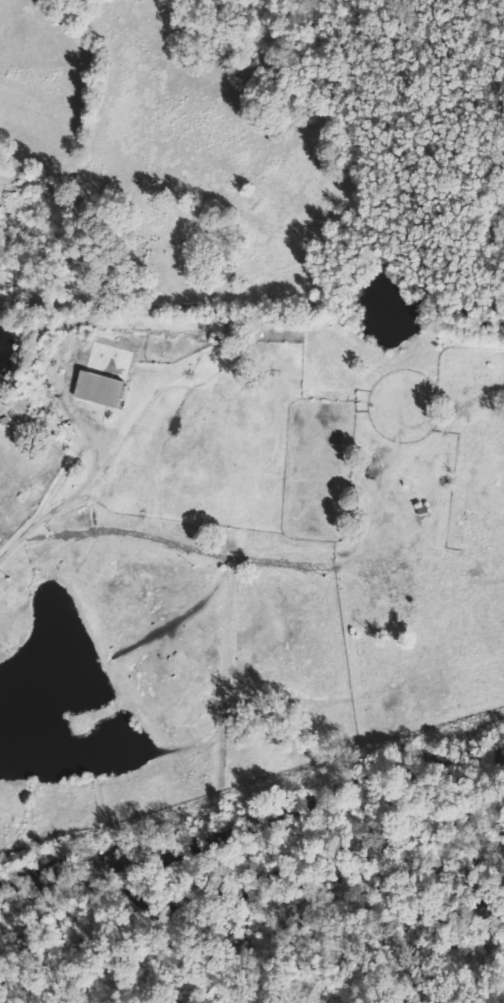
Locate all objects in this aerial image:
building: (100, 378)

